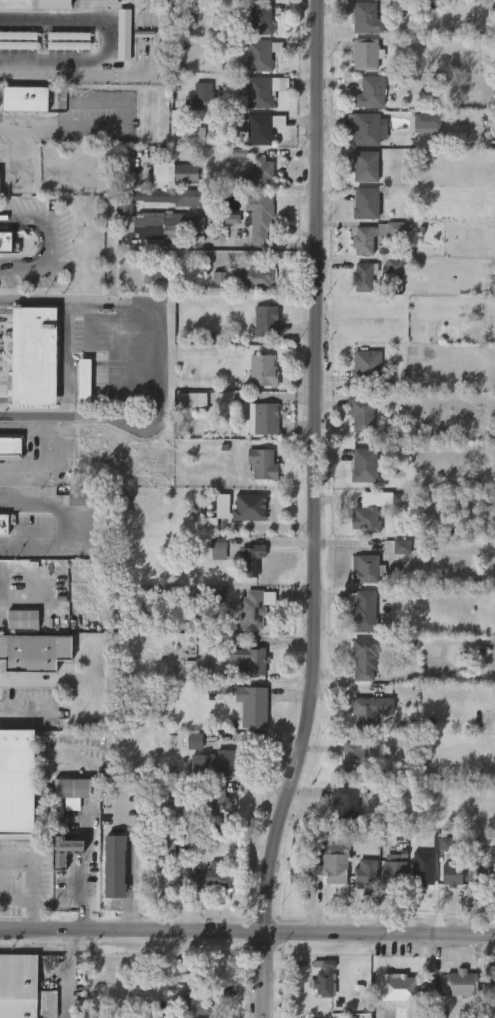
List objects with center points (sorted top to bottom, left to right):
building: (54, 4)
building: (367, 17)
building: (259, 18)
building: (124, 34)
road: (103, 40)
building: (257, 54)
building: (364, 54)
building: (255, 91)
building: (368, 93)
building: (201, 95)
building: (25, 99)
building: (425, 123)
building: (259, 128)
building: (367, 128)
road: (62, 129)
building: (456, 132)
building: (239, 152)
road: (20, 156)
building: (363, 166)
building: (256, 174)
building: (172, 176)
building: (169, 196)
building: (364, 203)
building: (230, 218)
building: (258, 218)
building: (168, 224)
building: (365, 239)
building: (7, 243)
road: (50, 243)
building: (394, 266)
building: (362, 277)
building: (237, 279)
building: (155, 281)
building: (264, 321)
building: (33, 356)
building: (367, 366)
road: (156, 369)
building: (262, 370)
building: (84, 381)
building: (189, 399)
building: (362, 414)
building: (265, 418)
road: (54, 445)
building: (11, 446)
building: (261, 463)
building: (365, 465)
building: (81, 496)
building: (392, 502)
building: (222, 506)
building: (247, 507)
road: (316, 511)
building: (365, 519)
road: (62, 524)
building: (2, 526)
building: (396, 546)
building: (217, 548)
building: (250, 561)
building: (367, 569)
building: (217, 596)
building: (247, 610)
building: (363, 610)
building: (23, 620)
building: (34, 653)
building: (245, 658)
building: (362, 658)
building: (201, 666)
road: (45, 678)
building: (251, 706)
building: (370, 710)
road: (27, 711)
building: (488, 718)
building: (189, 741)
building: (352, 759)
building: (211, 763)
building: (17, 782)
building: (70, 787)
building: (344, 801)
building: (218, 804)
building: (445, 844)
building: (171, 845)
building: (333, 857)
building: (61, 864)
building: (114, 867)
building: (395, 868)
building: (364, 872)
building: (479, 873)
building: (422, 874)
building: (298, 875)
building: (450, 875)
building: (214, 877)
road: (32, 879)
road: (130, 882)
road: (16, 897)
road: (247, 932)
building: (195, 968)
building: (489, 973)
building: (321, 978)
building: (459, 983)
building: (395, 984)
building: (21, 988)
building: (198, 1002)
building: (435, 1013)

